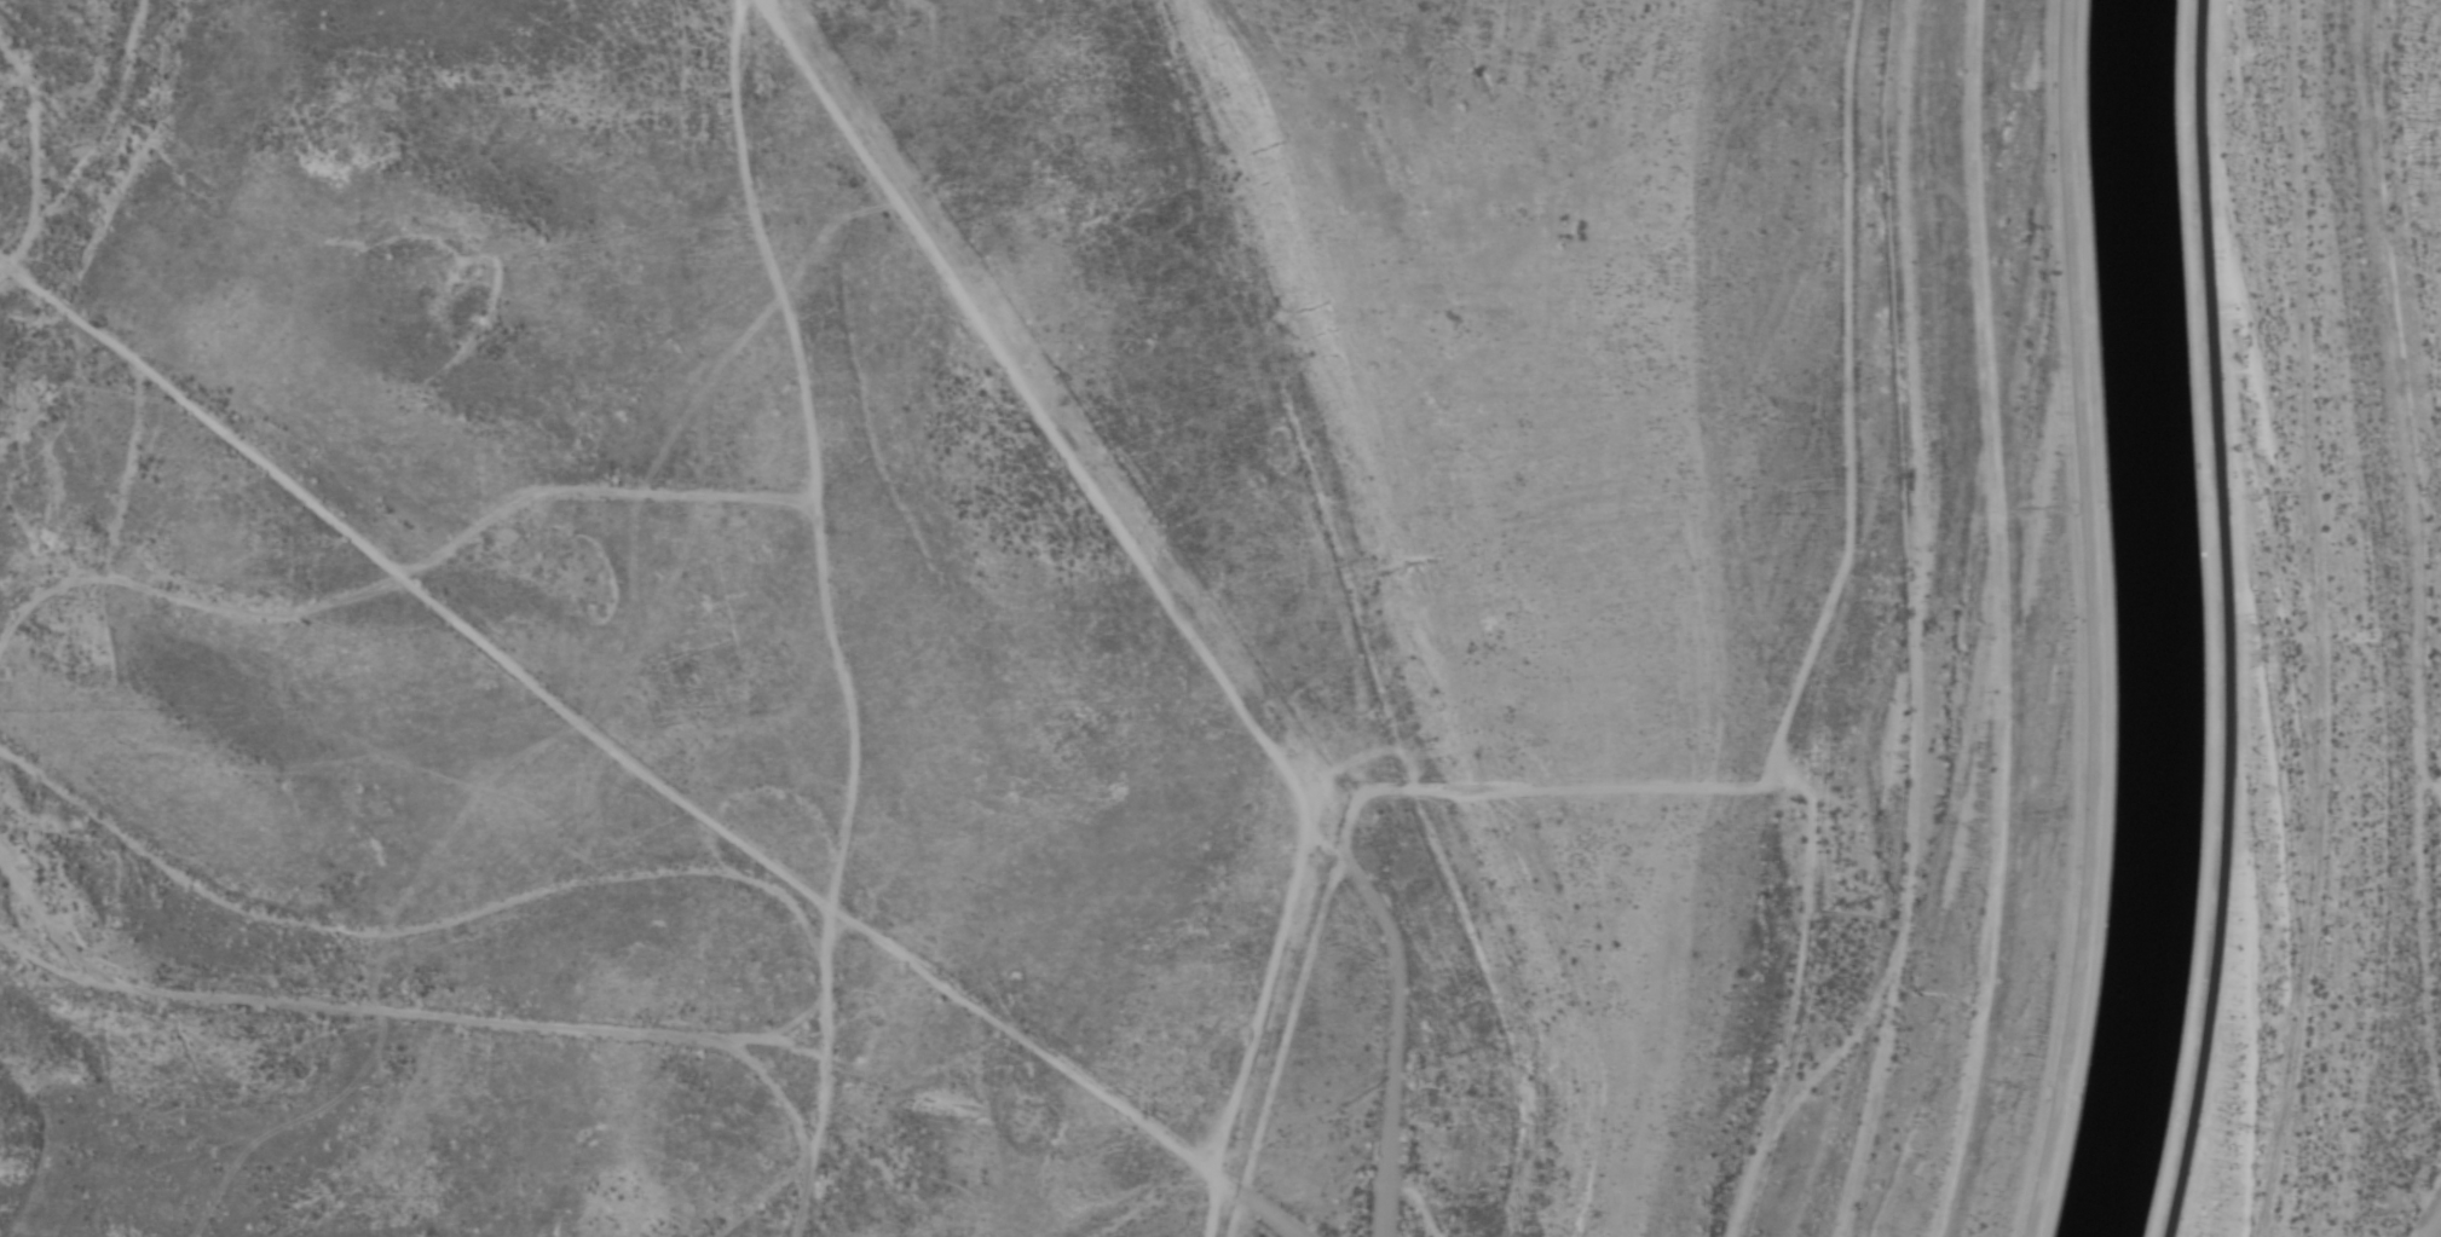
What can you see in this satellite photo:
road: (12, 325)
crop: (497, 424)
road: (1052, 430)
road: (380, 578)
road: (1375, 613)
road: (409, 614)
road: (848, 619)
road: (2089, 620)
road: (2227, 620)
road: (696, 903)
road: (30, 943)
road: (444, 1033)
road: (1395, 1041)
road: (1187, 1214)

